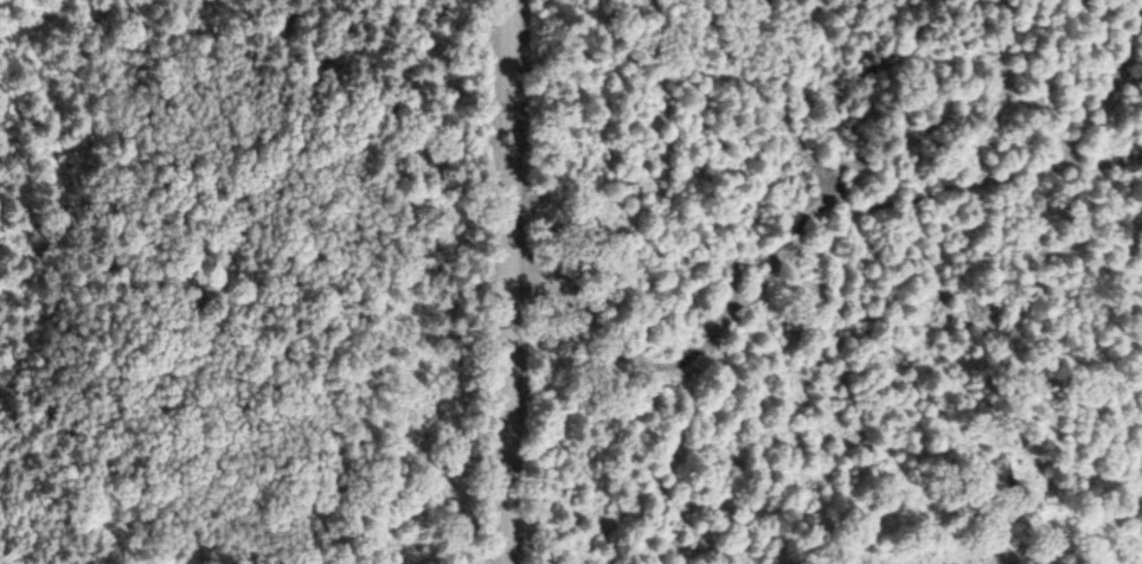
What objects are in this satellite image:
road: (511, 123)
road: (789, 239)
road: (506, 404)

